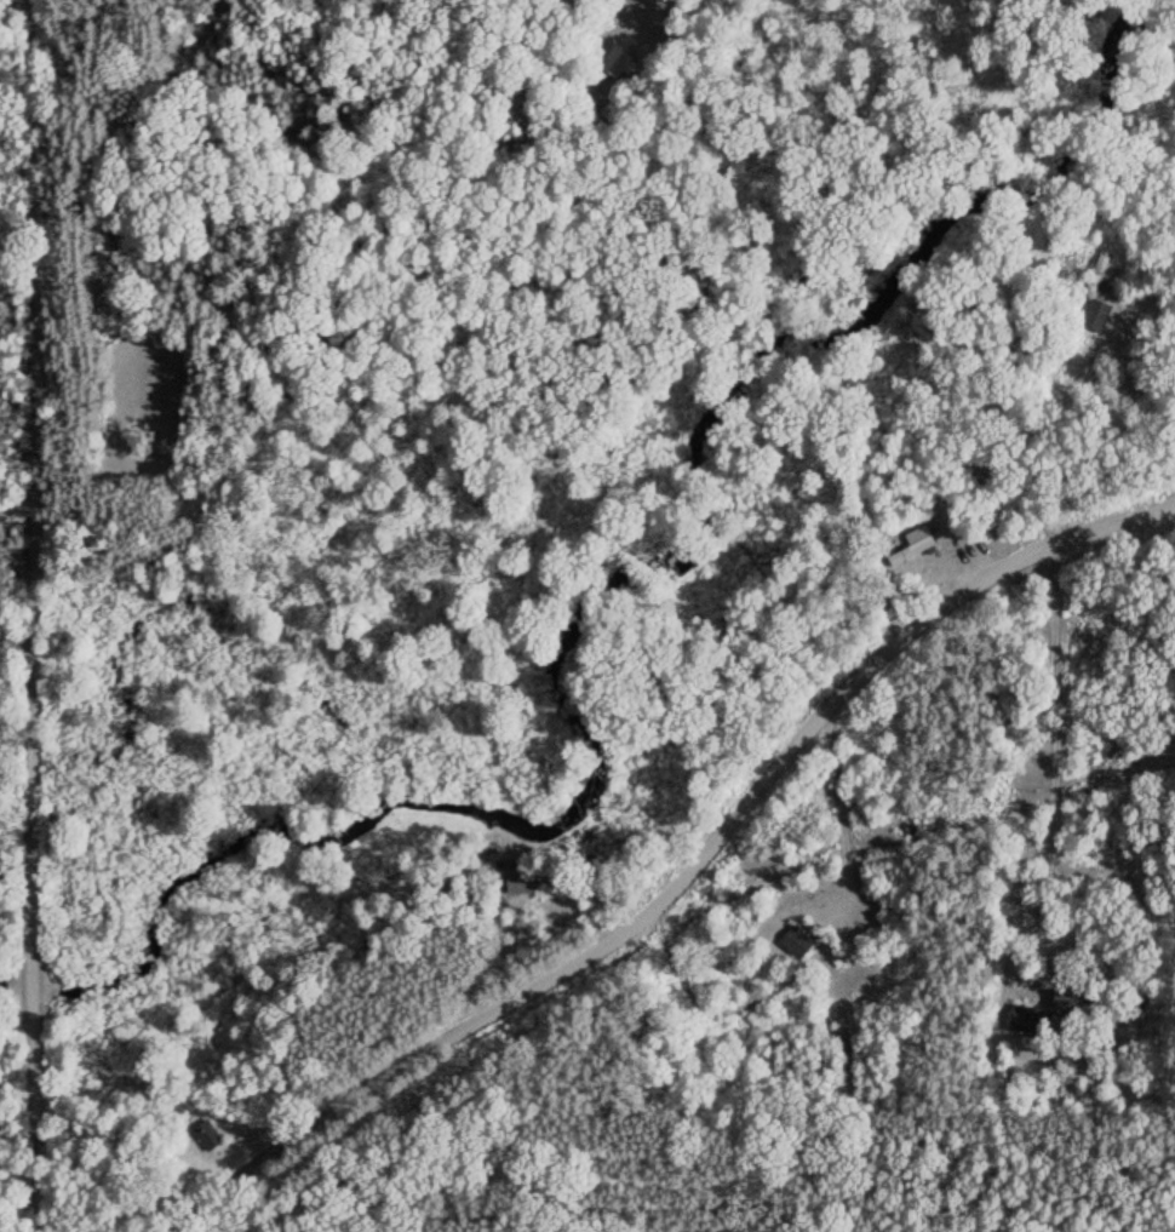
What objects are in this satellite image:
building: (1095, 274)
road: (28, 486)
road: (682, 873)
building: (793, 942)
road: (18, 1038)
road: (41, 1102)

